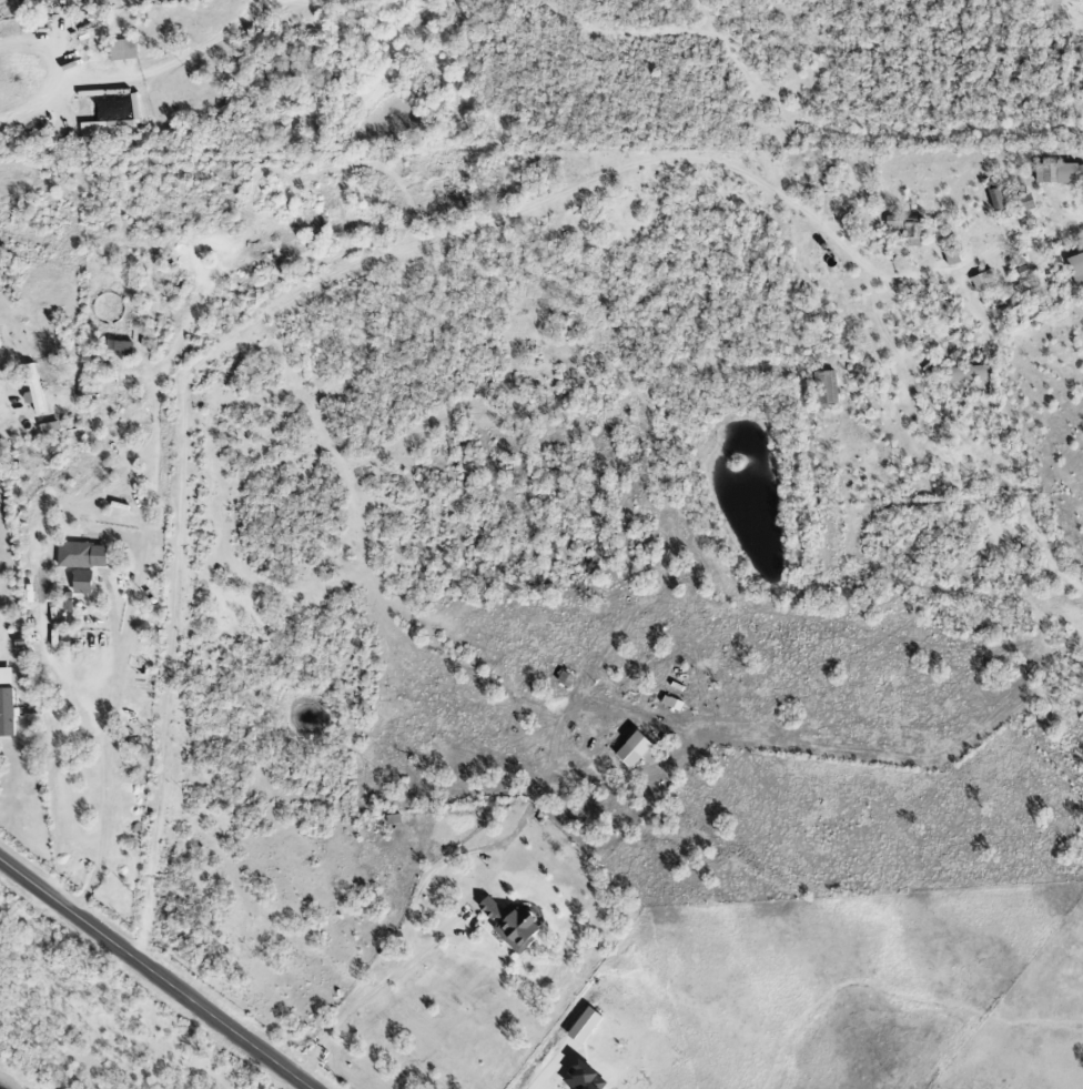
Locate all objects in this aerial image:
building: (122, 50)
road: (174, 65)
road: (60, 87)
building: (1055, 173)
building: (994, 195)
building: (1026, 202)
building: (907, 231)
building: (951, 258)
road: (358, 262)
building: (1076, 268)
building: (983, 281)
building: (120, 345)
building: (0, 347)
building: (965, 373)
building: (826, 387)
building: (33, 390)
building: (84, 390)
building: (50, 427)
building: (82, 555)
building: (89, 584)
road: (132, 601)
building: (67, 602)
road: (2, 637)
building: (6, 676)
building: (7, 713)
building: (632, 749)
building: (650, 755)
building: (510, 925)
road: (155, 974)
road: (374, 992)
road: (550, 1069)

